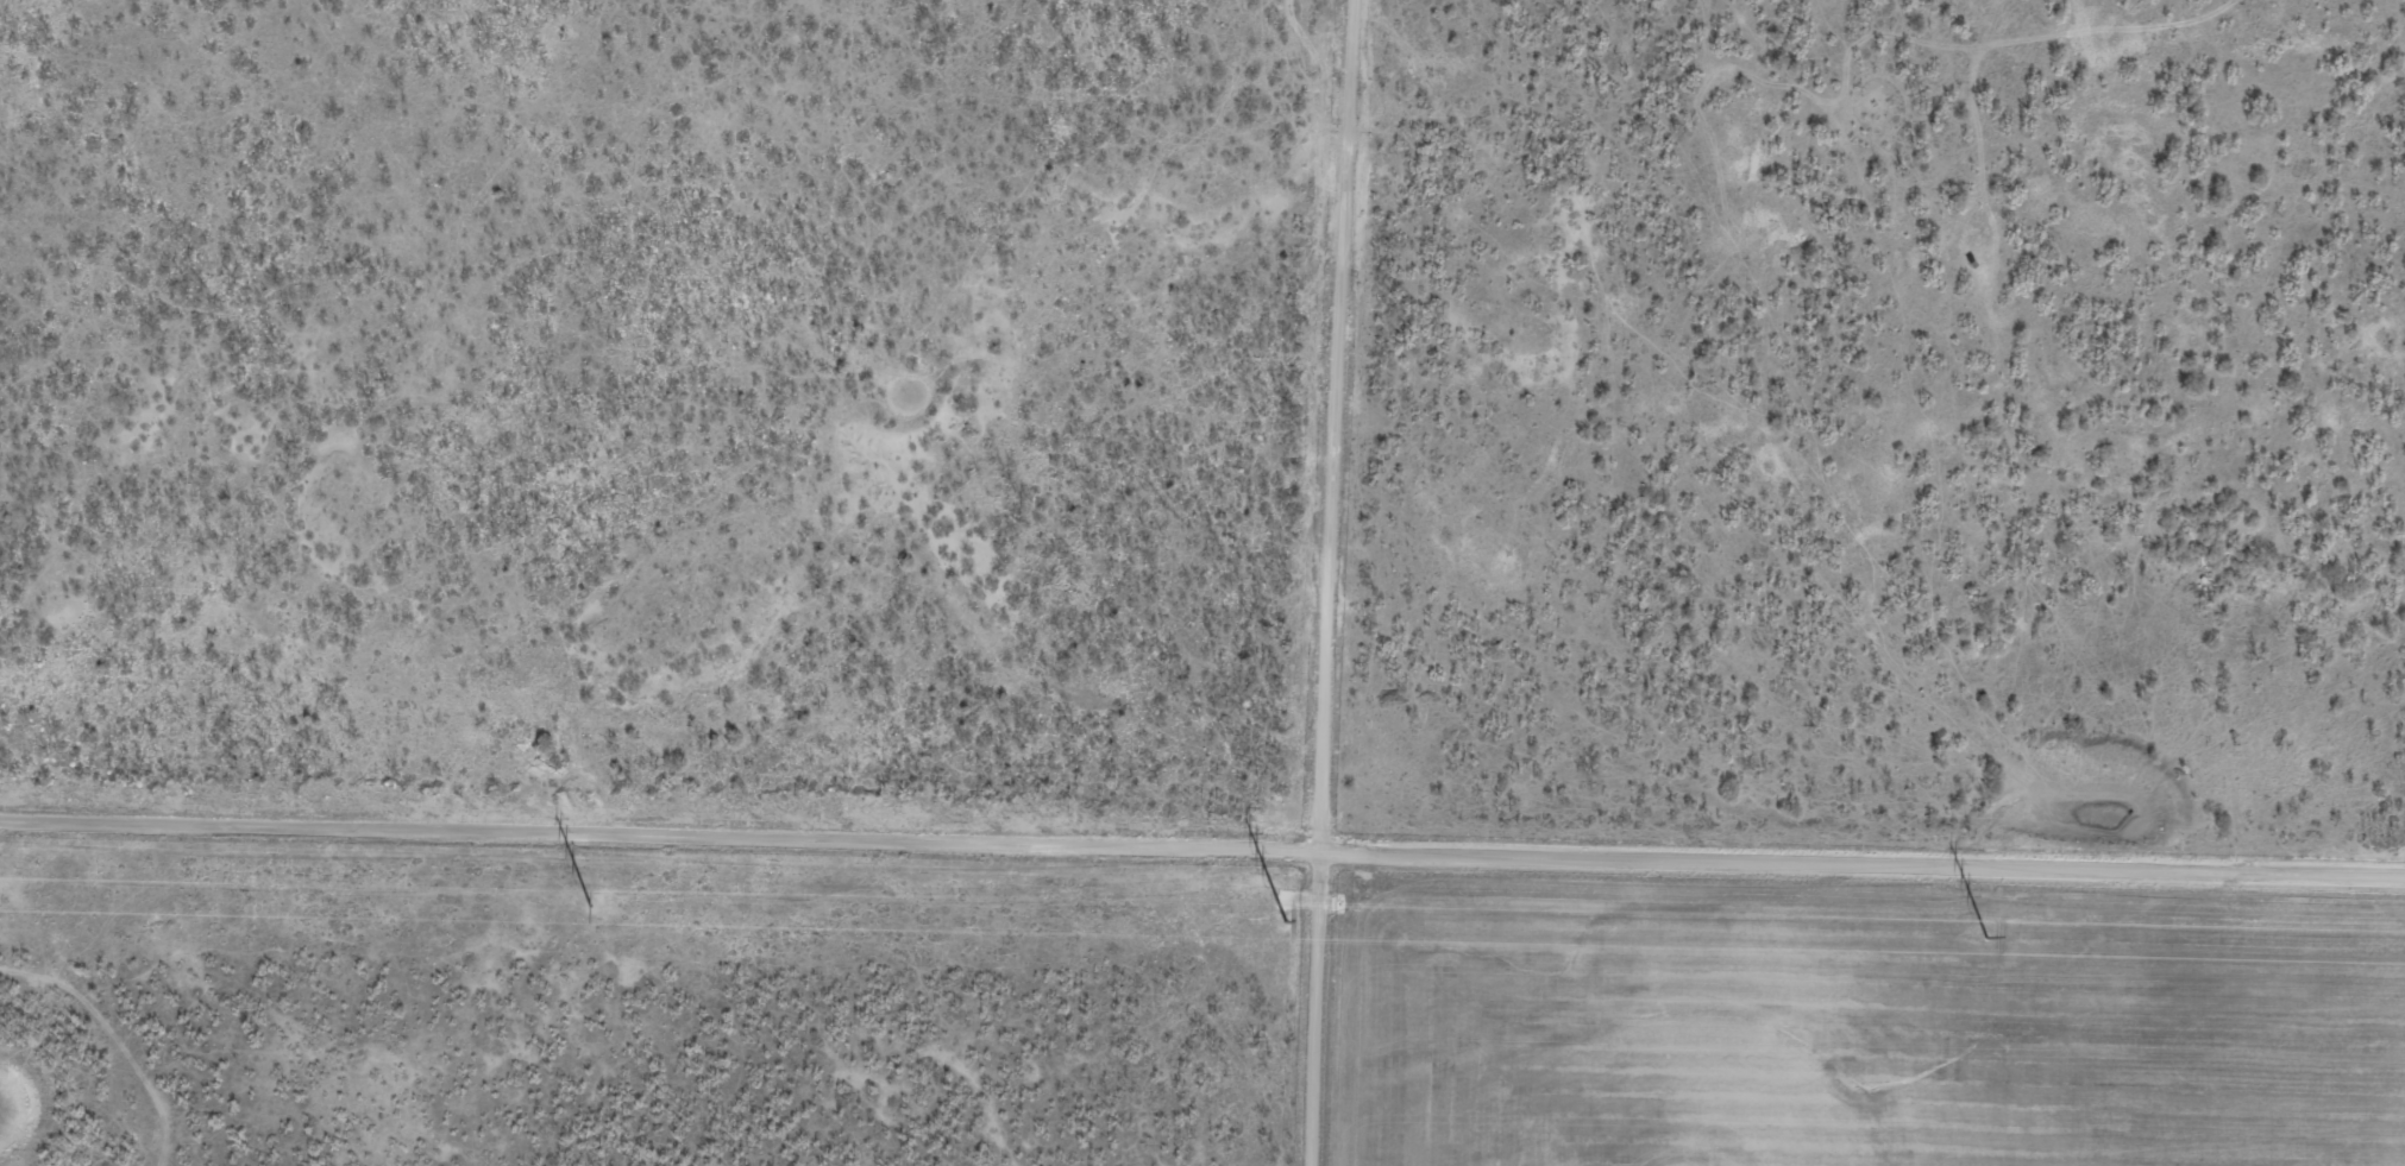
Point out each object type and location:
road: (1087, 146)
road: (1331, 582)
road: (1201, 847)
power tower: (592, 905)
power tower: (1287, 920)
power tower: (1986, 935)

